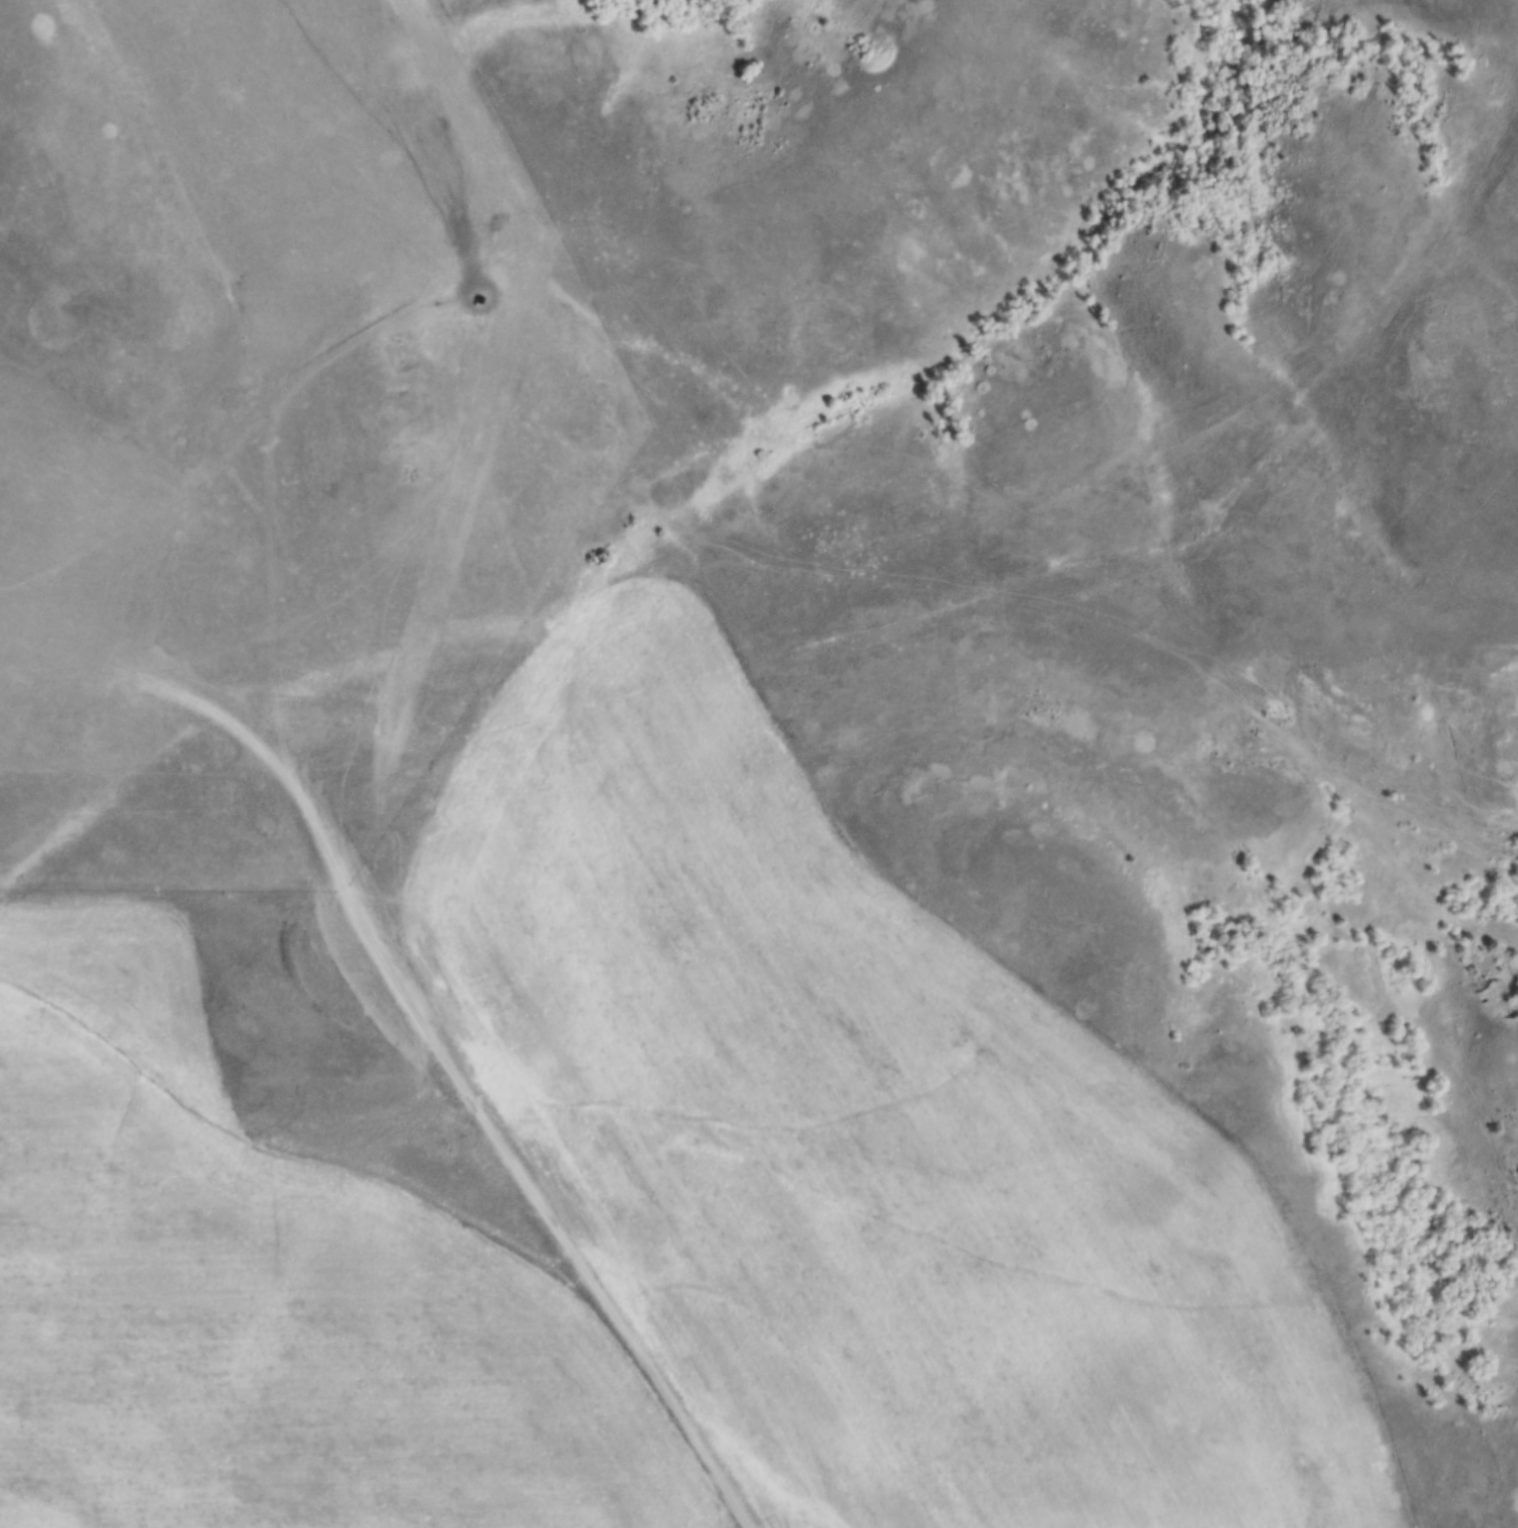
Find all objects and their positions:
road: (883, 578)
road: (288, 775)
road: (562, 1240)

